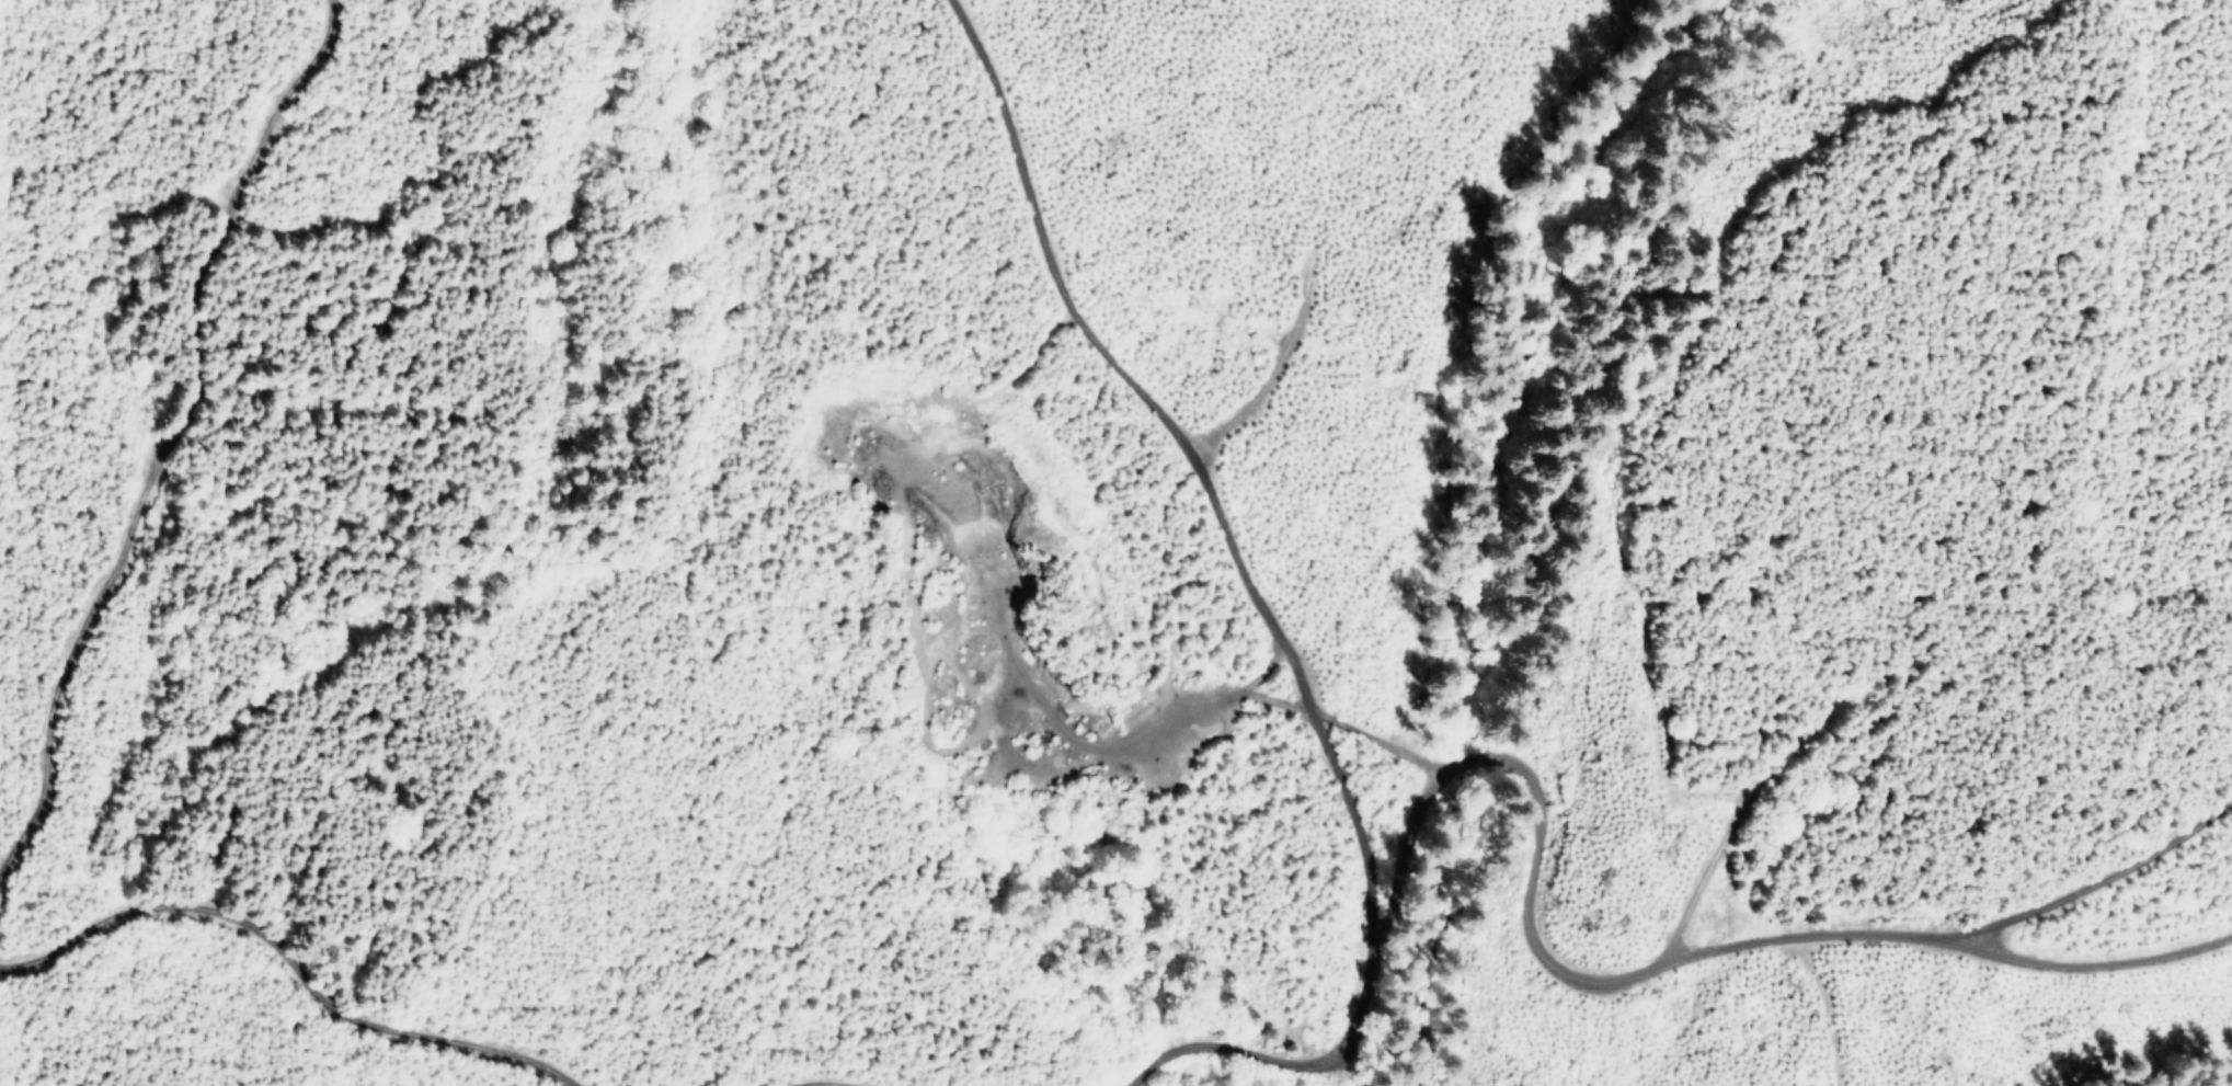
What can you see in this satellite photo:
road: (1298, 572)
road: (1256, 677)
road: (2097, 858)
road: (27, 913)
road: (1707, 949)
road: (304, 995)
road: (817, 1055)

